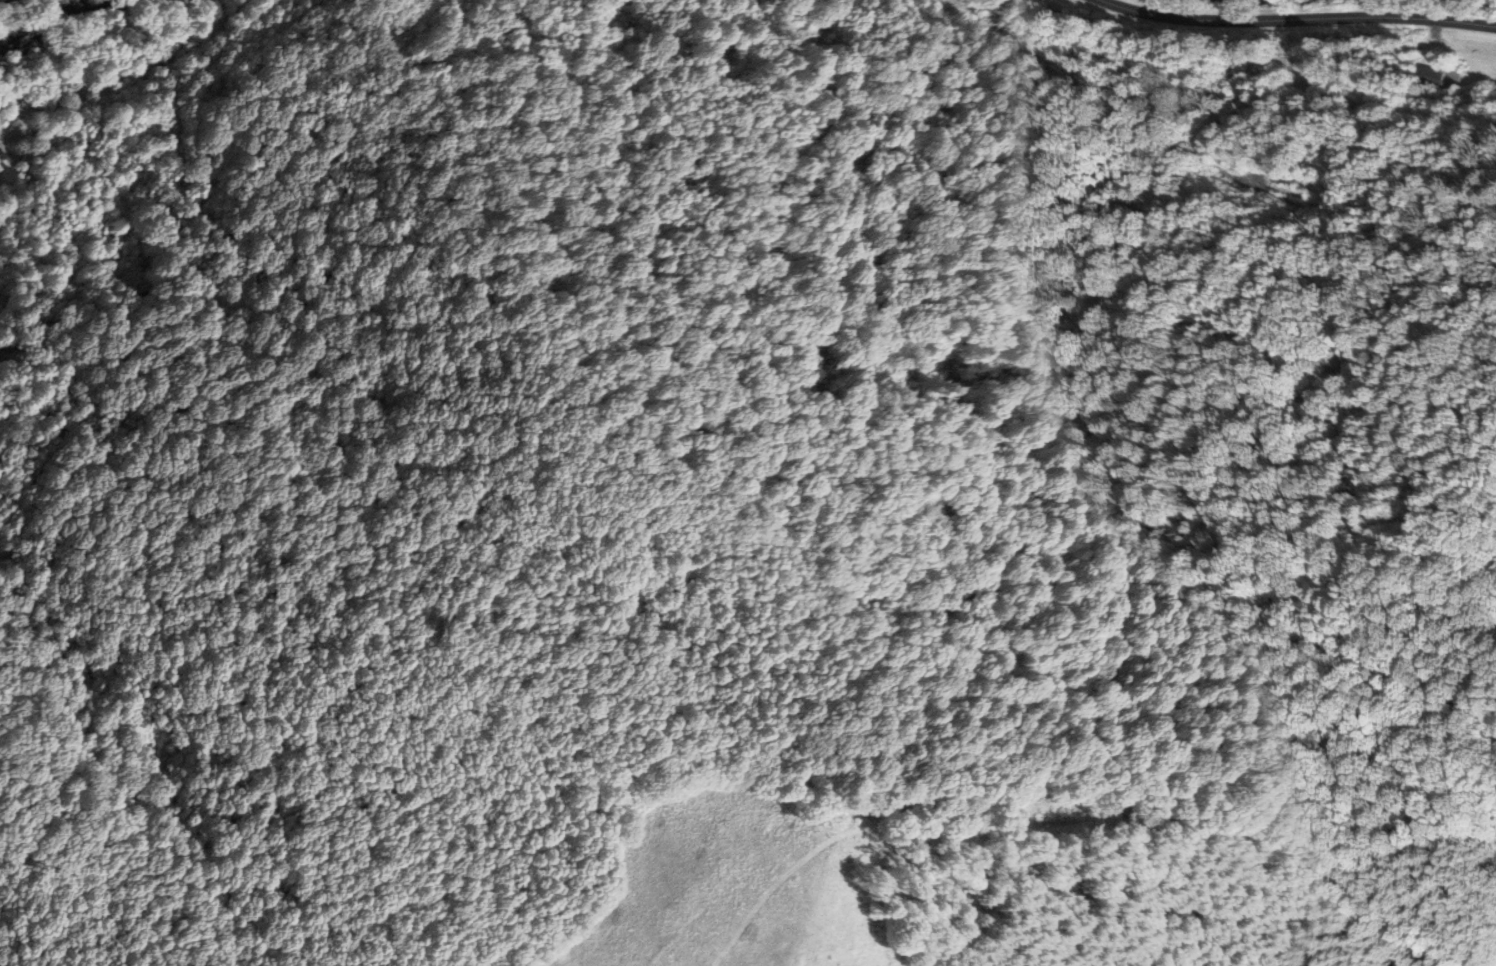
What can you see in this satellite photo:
road: (1300, 16)

